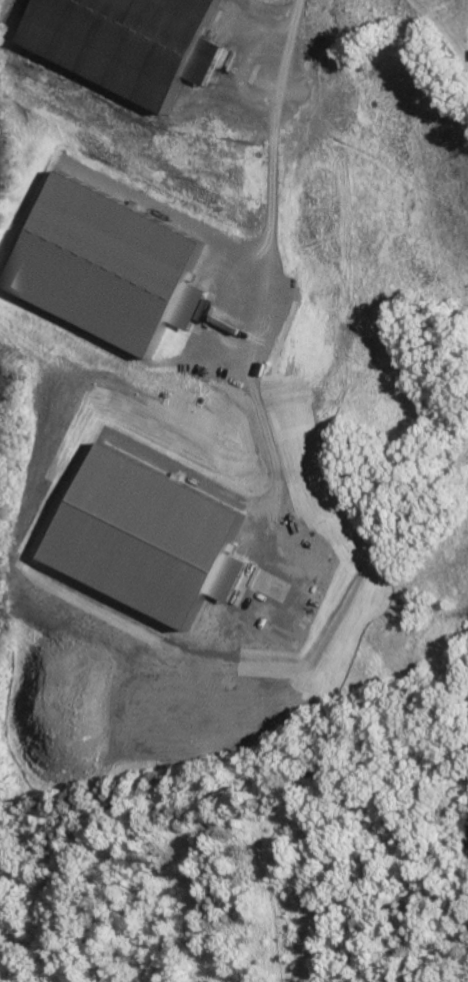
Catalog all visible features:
building: (130, 43)

